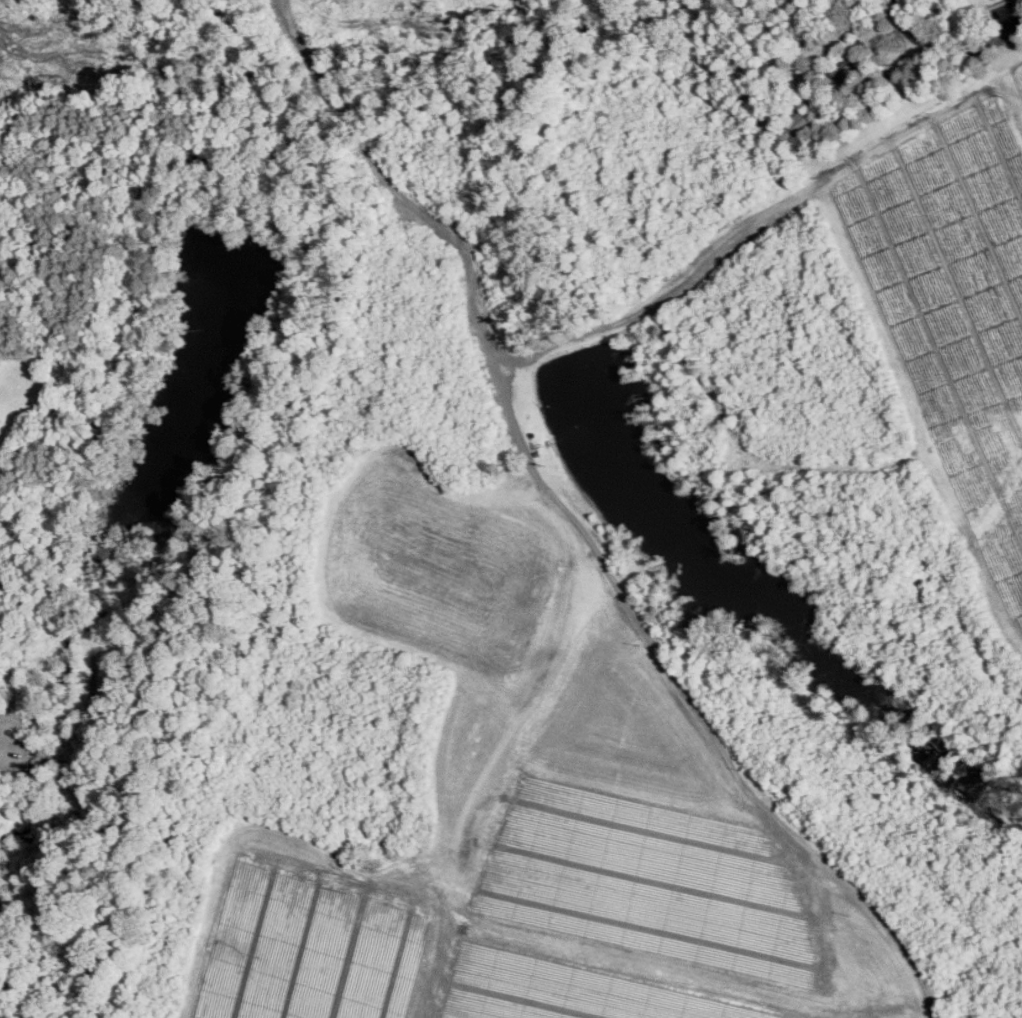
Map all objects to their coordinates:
road: (938, 47)

